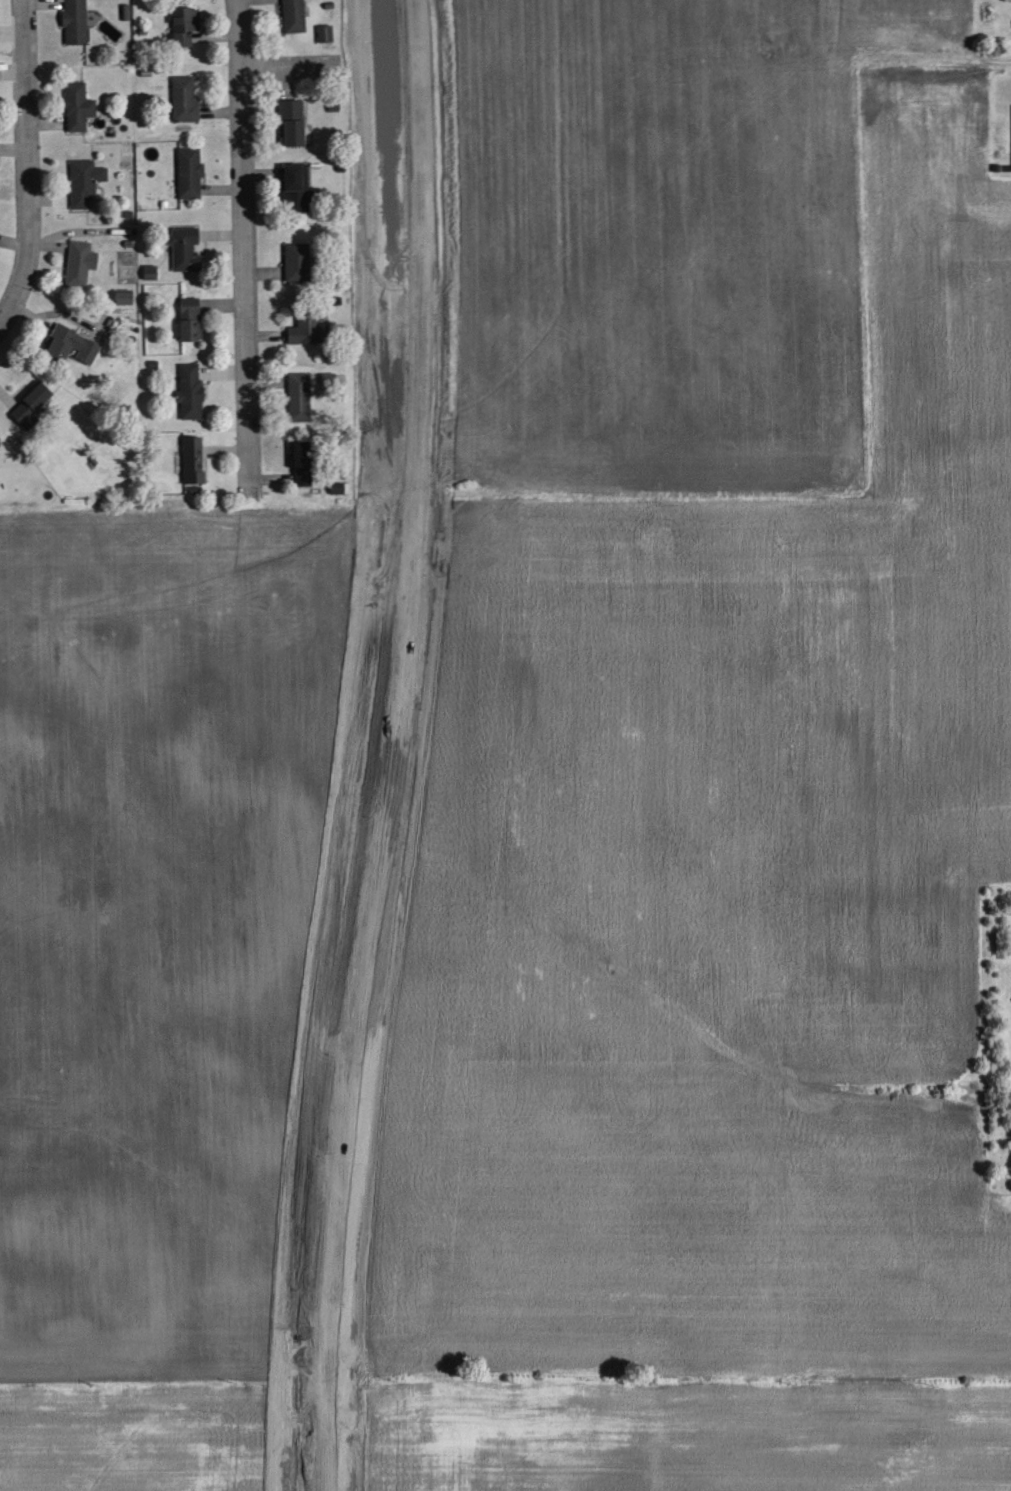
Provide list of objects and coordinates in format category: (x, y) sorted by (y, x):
building: (295, 15)
building: (76, 21)
building: (185, 23)
building: (327, 31)
road: (289, 64)
building: (186, 96)
building: (79, 104)
building: (293, 120)
road: (26, 163)
building: (191, 170)
building: (86, 180)
building: (297, 186)
building: (187, 247)
road: (244, 247)
building: (298, 260)
building: (81, 261)
building: (152, 270)
building: (124, 295)
building: (191, 317)
building: (306, 328)
building: (71, 344)
building: (191, 389)
building: (301, 395)
building: (33, 402)
building: (1, 438)
building: (194, 457)
building: (303, 461)
building: (338, 487)
road: (385, 747)

